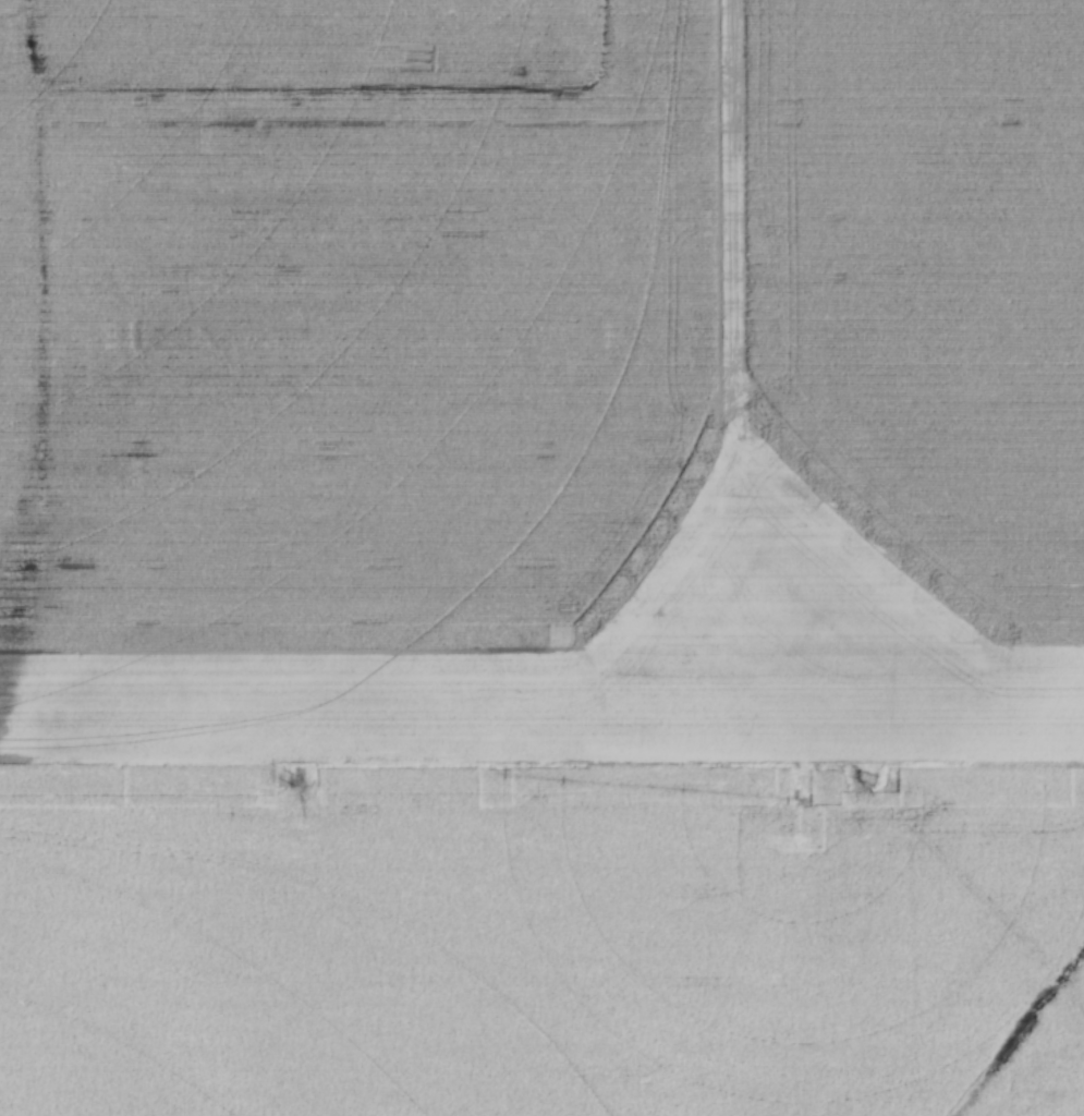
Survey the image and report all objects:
power tower: (293, 781)
power tower: (872, 784)

